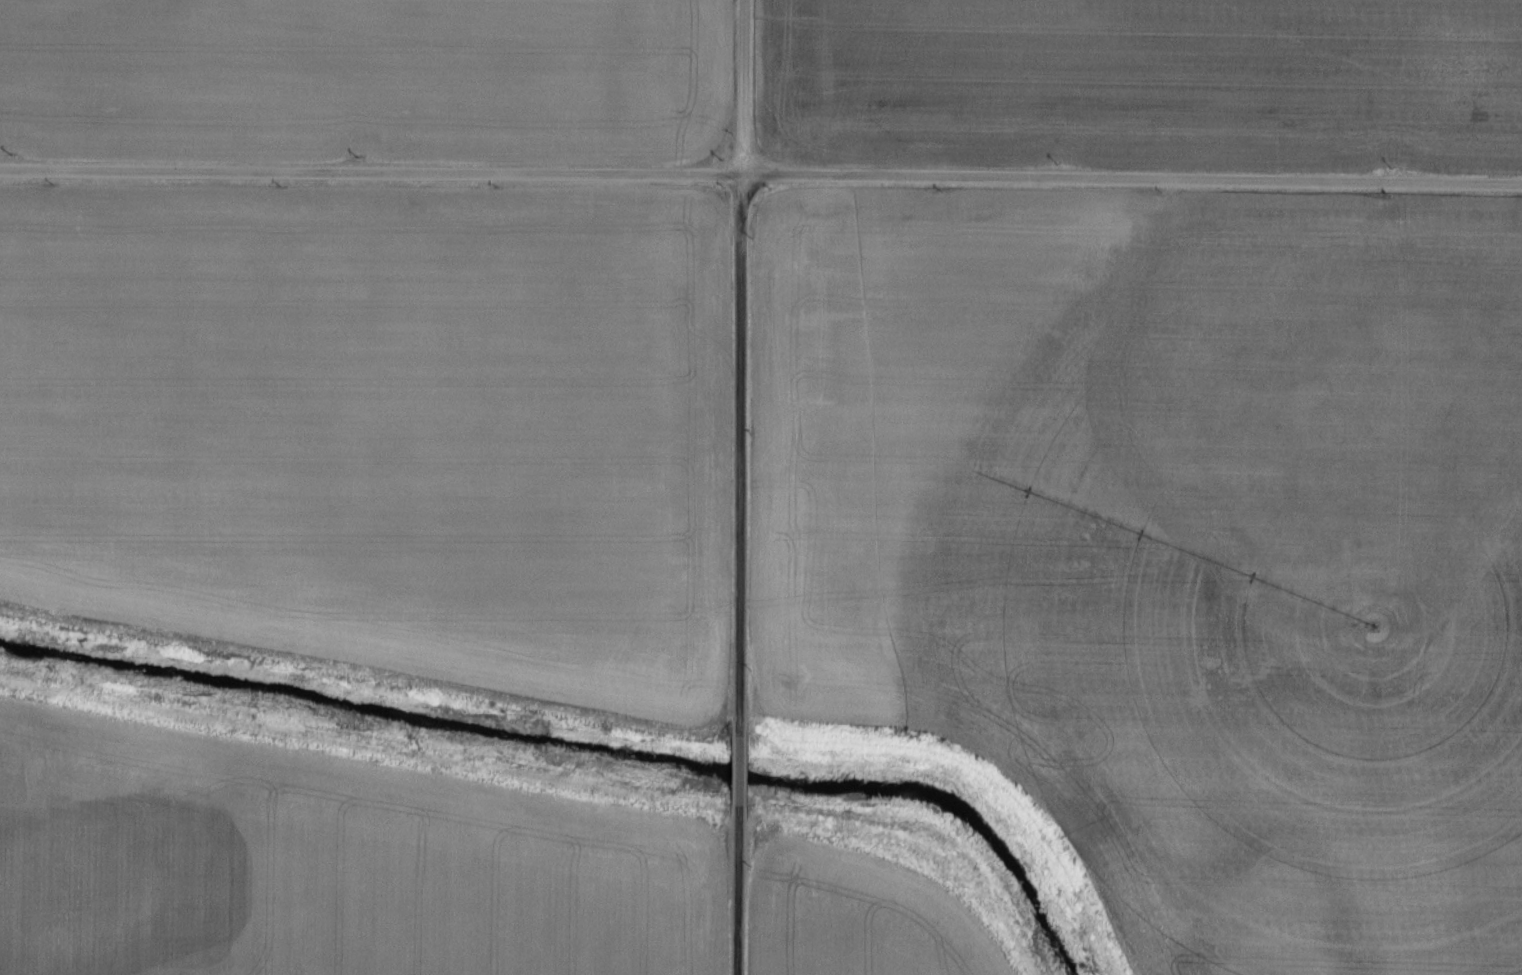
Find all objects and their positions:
road: (736, 87)
road: (761, 175)
road: (737, 455)
river: (579, 749)
road: (739, 768)
road: (738, 887)

